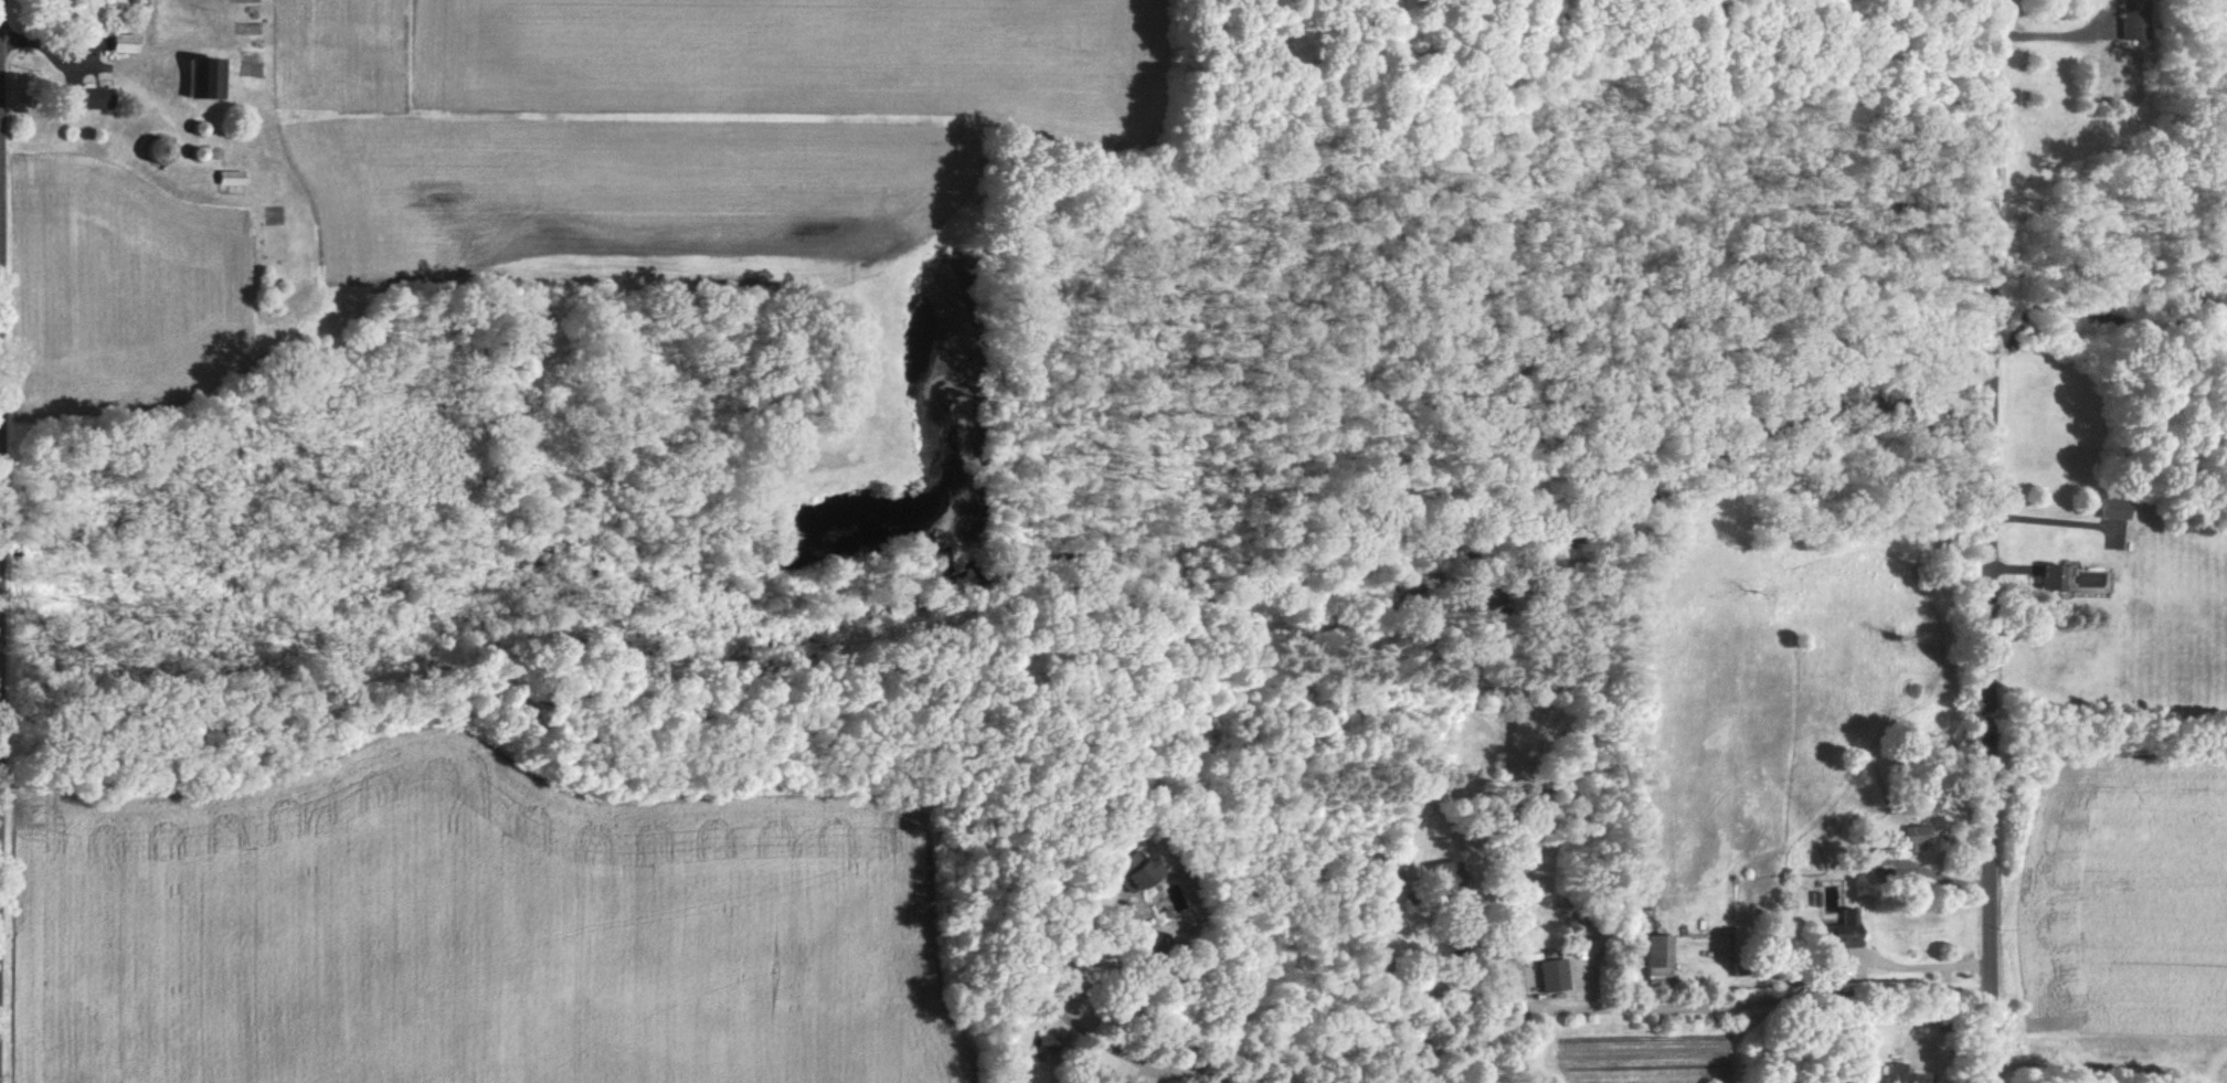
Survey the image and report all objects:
building: (127, 42)
building: (209, 76)
building: (99, 97)
building: (232, 177)
building: (2111, 508)
road: (2051, 520)
road: (1990, 541)
building: (2045, 577)
building: (1907, 837)
building: (1136, 870)
building: (1835, 937)
road: (1052, 954)
building: (1658, 958)
road: (1506, 964)
road: (1923, 967)
building: (1553, 975)
road: (1857, 992)
road: (1128, 1001)
road: (1696, 1005)
building: (1049, 1042)
building: (1107, 1063)
road: (2115, 1064)
road: (1162, 1065)
road: (1936, 1071)
building: (1899, 1074)
road: (2205, 1081)

